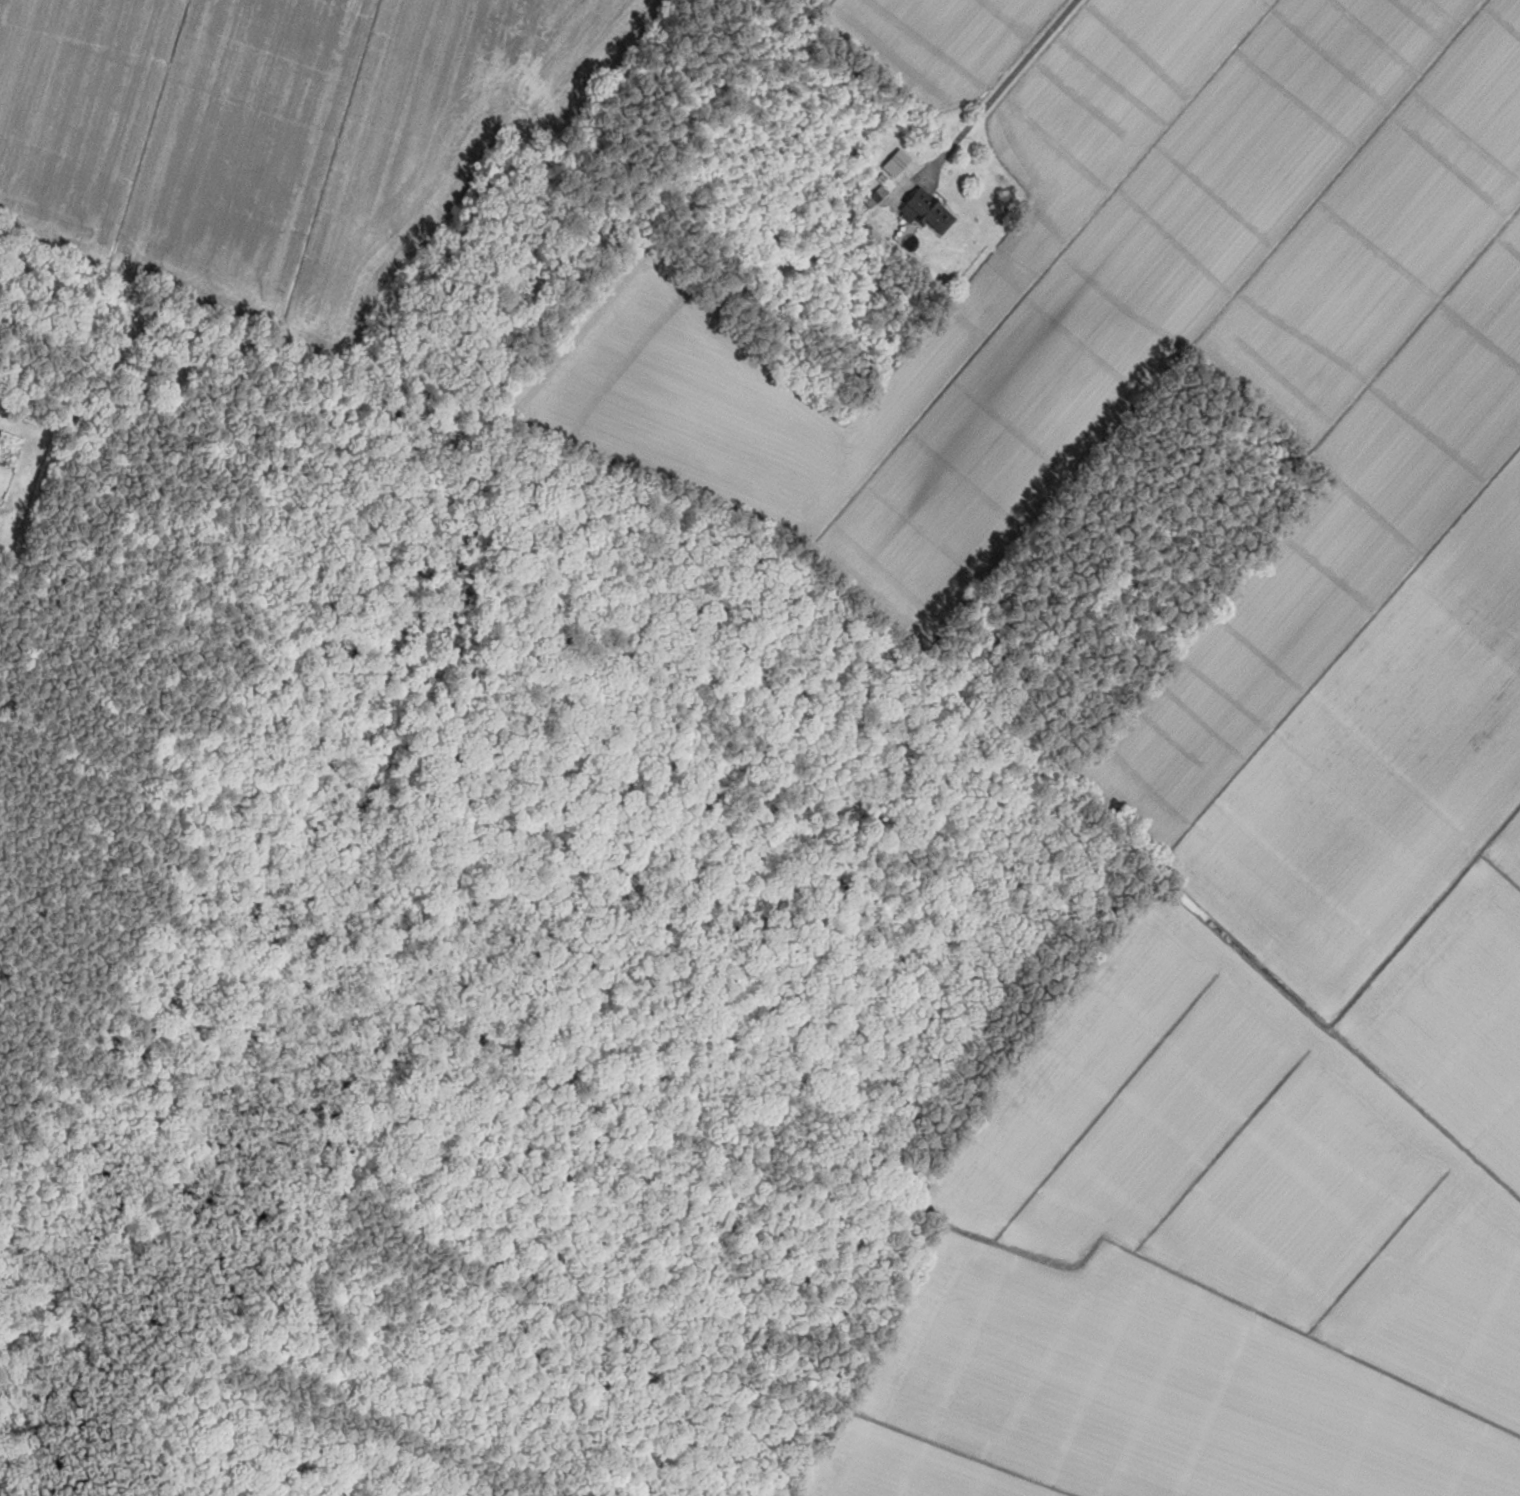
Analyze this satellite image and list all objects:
road: (1000, 88)
building: (926, 211)

